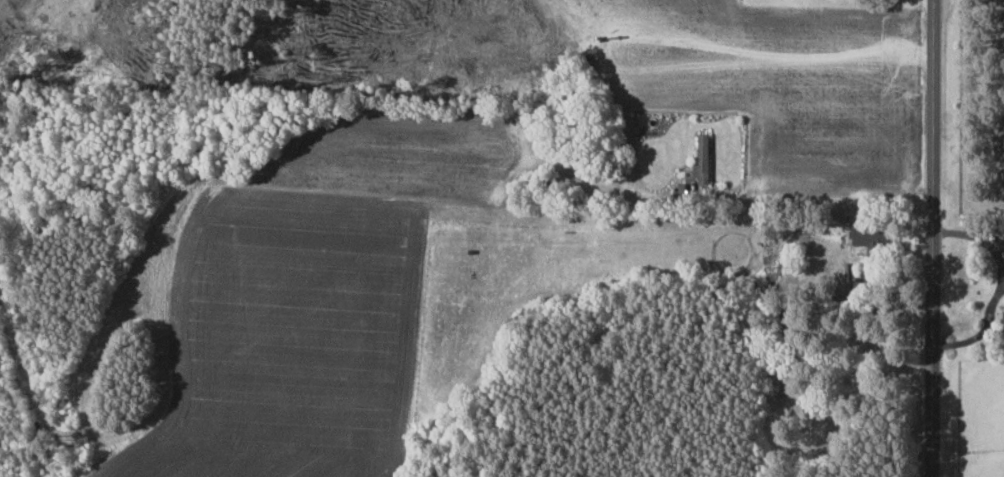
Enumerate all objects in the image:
building: (703, 160)
road: (805, 198)
building: (873, 236)
road: (928, 238)

